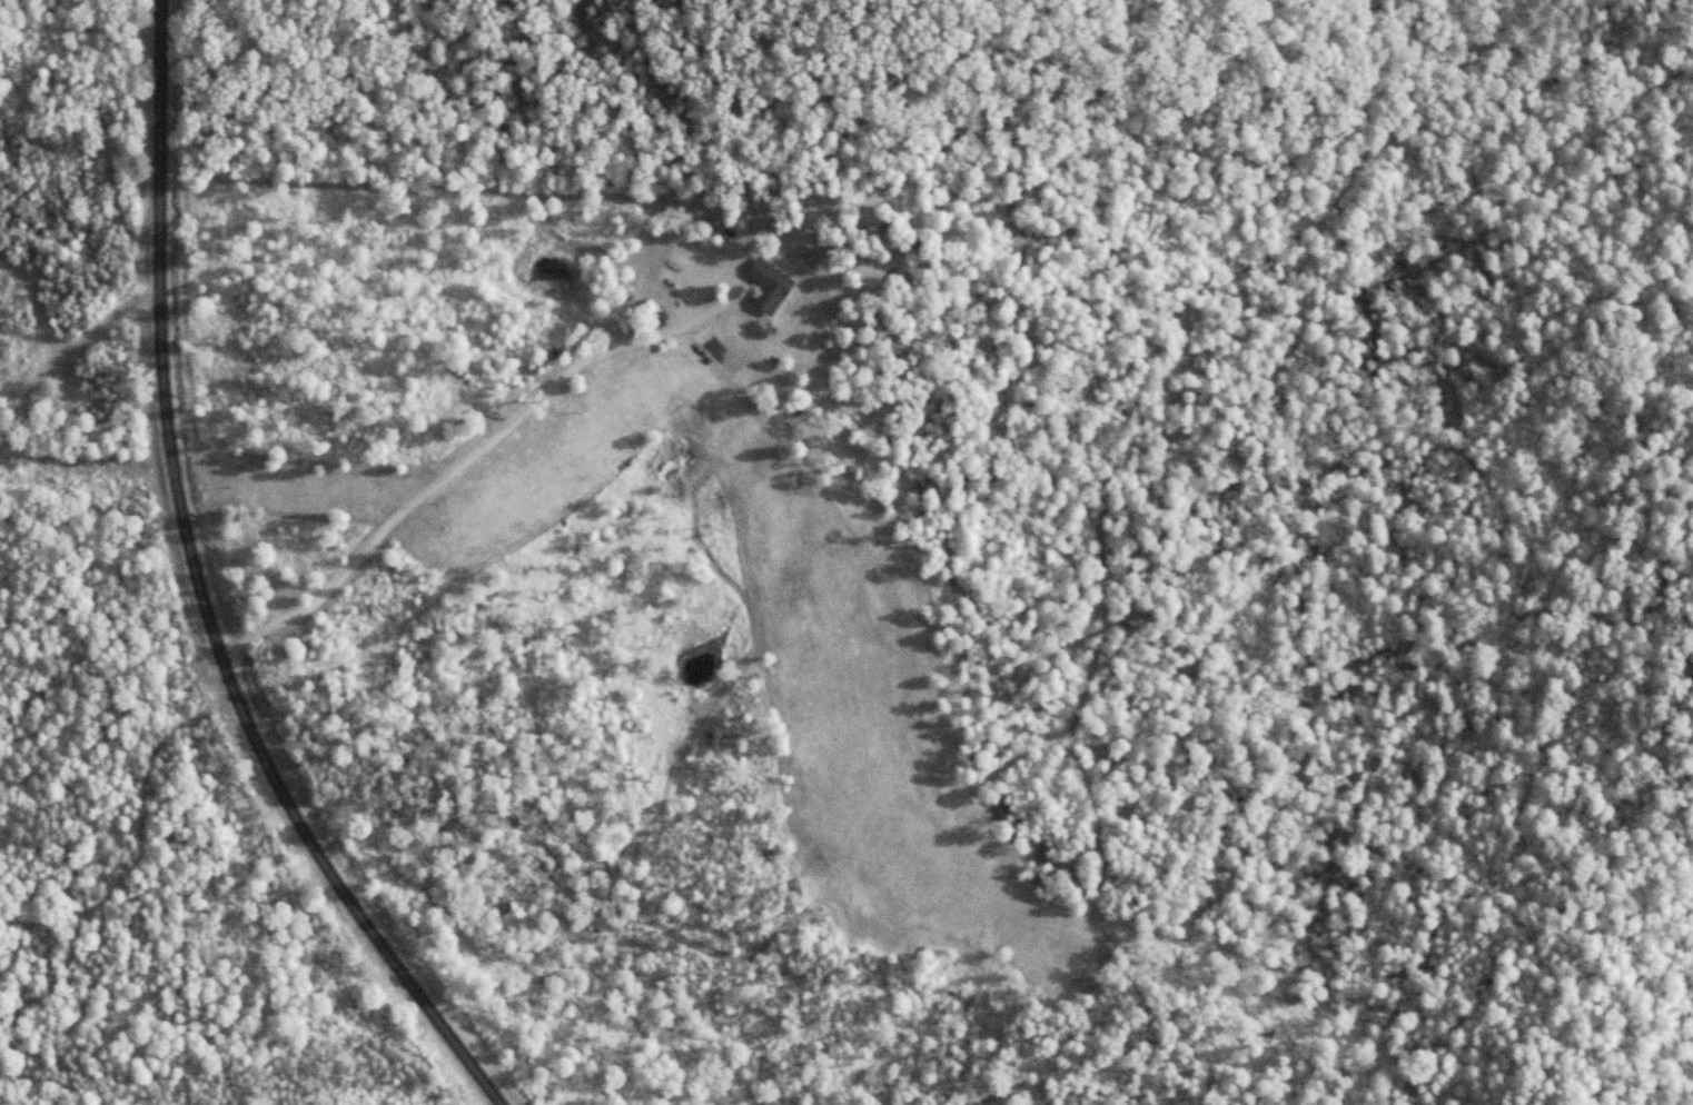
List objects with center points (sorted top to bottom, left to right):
building: (762, 267)
building: (774, 289)
road: (196, 594)

